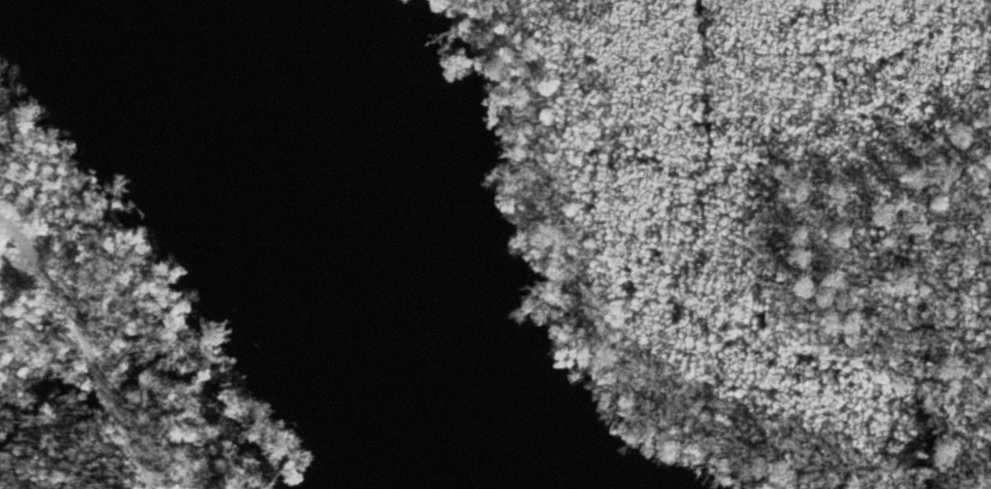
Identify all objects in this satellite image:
river: (337, 251)

